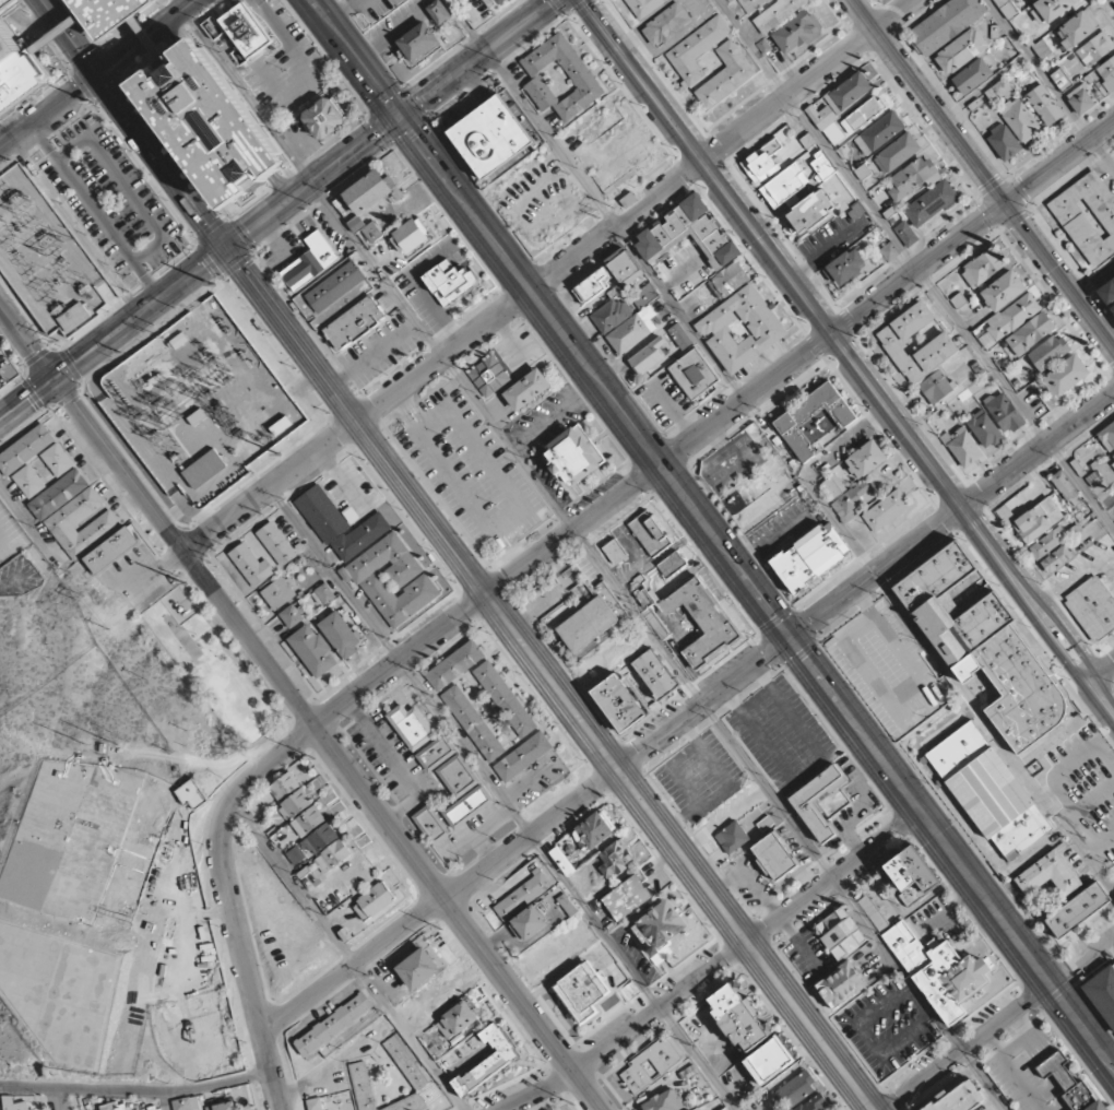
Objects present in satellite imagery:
building: (1030, 0)
building: (499, 1)
road: (2, 2)
building: (644, 7)
parking lot: (371, 8)
parking lot: (471, 9)
building: (1050, 10)
building: (770, 11)
building: (440, 12)
building: (105, 13)
parking lot: (470, 24)
building: (945, 24)
building: (666, 25)
building: (139, 27)
building: (1077, 28)
building: (245, 29)
building: (796, 32)
road: (52, 35)
road: (147, 37)
road: (145, 39)
building: (418, 42)
building: (1042, 49)
building: (1094, 49)
parking lot: (262, 50)
building: (696, 50)
building: (961, 51)
building: (15, 71)
parking lot: (517, 72)
traffic signals: (98, 75)
building: (726, 75)
building: (972, 76)
building: (1106, 76)
building: (560, 78)
building: (1060, 80)
road: (1050, 85)
building: (999, 91)
building: (848, 92)
power tower: (86, 99)
building: (1080, 99)
building: (1044, 105)
road: (48, 111)
building: (862, 114)
traffic signals: (400, 118)
building: (325, 119)
building: (1020, 120)
parking lot: (552, 121)
building: (826, 122)
road: (134, 123)
building: (208, 123)
road: (391, 123)
building: (878, 132)
building: (491, 137)
building: (1004, 142)
building: (809, 143)
railway: (130, 149)
building: (897, 152)
power tower: (8, 160)
building: (761, 161)
building: (822, 165)
road: (983, 174)
building: (913, 177)
building: (784, 185)
building: (371, 189)
road: (595, 199)
parking lot: (108, 200)
building: (931, 203)
traffic signals: (1006, 204)
road: (635, 209)
building: (810, 212)
building: (1088, 216)
road: (50, 221)
building: (356, 224)
building: (372, 232)
building: (687, 233)
building: (905, 234)
building: (410, 236)
traffic signals: (227, 248)
road: (146, 250)
parking lot: (280, 250)
building: (380, 250)
building: (889, 250)
power substation: (44, 258)
building: (311, 261)
road: (915, 265)
building: (845, 267)
building: (983, 267)
parking lot: (684, 270)
road: (376, 272)
building: (608, 275)
building: (727, 279)
power tower: (213, 283)
building: (451, 283)
road: (25, 291)
building: (1003, 291)
building: (334, 292)
building: (1107, 292)
road: (188, 295)
building: (643, 295)
parking lot: (420, 298)
road: (799, 298)
road: (114, 302)
parking lot: (692, 306)
building: (1112, 308)
building: (611, 314)
building: (74, 318)
building: (353, 323)
building: (740, 328)
building: (631, 330)
building: (1030, 333)
road: (114, 334)
building: (679, 336)
power tower: (58, 341)
road: (27, 343)
road: (854, 346)
parking lot: (379, 351)
building: (921, 352)
building: (1048, 352)
building: (648, 355)
road: (799, 357)
railway: (846, 358)
road: (240, 365)
parking lot: (7, 370)
building: (692, 374)
building: (1066, 375)
road: (94, 377)
building: (489, 377)
road: (305, 383)
building: (530, 391)
parking lot: (664, 398)
power substation: (199, 404)
building: (1004, 412)
building: (791, 421)
building: (985, 429)
parking lot: (547, 437)
building: (1107, 437)
road: (509, 442)
road: (141, 444)
building: (962, 447)
building: (25, 449)
building: (574, 456)
building: (1112, 457)
building: (57, 460)
building: (865, 460)
building: (203, 469)
road: (229, 471)
parking lot: (471, 471)
building: (28, 482)
building: (1066, 488)
building: (58, 494)
building: (843, 496)
road: (246, 505)
building: (887, 510)
road: (176, 511)
road: (190, 513)
building: (1038, 520)
building: (60, 521)
road: (31, 524)
parking lot: (780, 528)
building: (655, 530)
road: (712, 534)
building: (1047, 542)
building: (276, 544)
building: (110, 551)
building: (616, 552)
railway: (440, 554)
building: (371, 557)
building: (813, 557)
building: (1056, 559)
building: (251, 565)
railway: (448, 569)
road: (865, 581)
road: (10, 582)
building: (277, 593)
building: (322, 594)
parking lot: (544, 598)
building: (1092, 607)
building: (709, 611)
building: (292, 615)
building: (589, 624)
building: (342, 634)
road: (1066, 635)
traffic signals: (790, 638)
road: (1051, 645)
building: (986, 646)
building: (312, 654)
railway: (1076, 654)
building: (454, 665)
parking lot: (888, 669)
park: (209, 670)
building: (657, 673)
road: (1100, 676)
road: (550, 678)
building: (506, 699)
road: (344, 704)
building: (621, 705)
road: (1100, 706)
building: (473, 723)
building: (411, 727)
parking lot: (782, 734)
road: (327, 745)
building: (523, 757)
parking lot: (699, 776)
building: (457, 781)
building: (284, 786)
parking lot: (1079, 789)
building: (192, 795)
road: (503, 798)
building: (295, 804)
building: (1000, 804)
parking lot: (856, 806)
parking lot: (726, 818)
building: (308, 820)
road: (789, 820)
building: (817, 820)
building: (430, 825)
building: (594, 831)
building: (733, 838)
building: (320, 839)
building: (295, 855)
building: (333, 857)
building: (778, 857)
building: (615, 859)
building: (562, 861)
building: (1050, 874)
road: (833, 876)
parking lot: (748, 878)
building: (913, 879)
building: (524, 895)
building: (627, 898)
road: (441, 900)
building: (374, 901)
building: (568, 905)
building: (1079, 911)
building: (873, 913)
parking lot: (937, 920)
building: (530, 923)
building: (659, 930)
building: (841, 935)
road: (348, 956)
parking lot: (807, 957)
road: (1082, 960)
building: (418, 969)
road: (246, 970)
building: (943, 973)
building: (843, 985)
building: (630, 990)
building: (582, 992)
building: (1102, 993)
building: (739, 1017)
building: (458, 1020)
building: (333, 1025)
parking lot: (888, 1027)
road: (630, 1031)
road: (968, 1047)
building: (489, 1061)
building: (769, 1061)
building: (652, 1063)
parking lot: (1017, 1077)
building: (417, 1079)
building: (1069, 1082)
building: (794, 1091)
road: (135, 1093)
building: (964, 1099)
road: (61, 1100)
road: (165, 1101)
building: (663, 1101)
building: (14, 1103)
building: (186, 1103)
building: (315, 1103)
building: (814, 1105)
building: (112, 1107)
building: (221, 1107)

